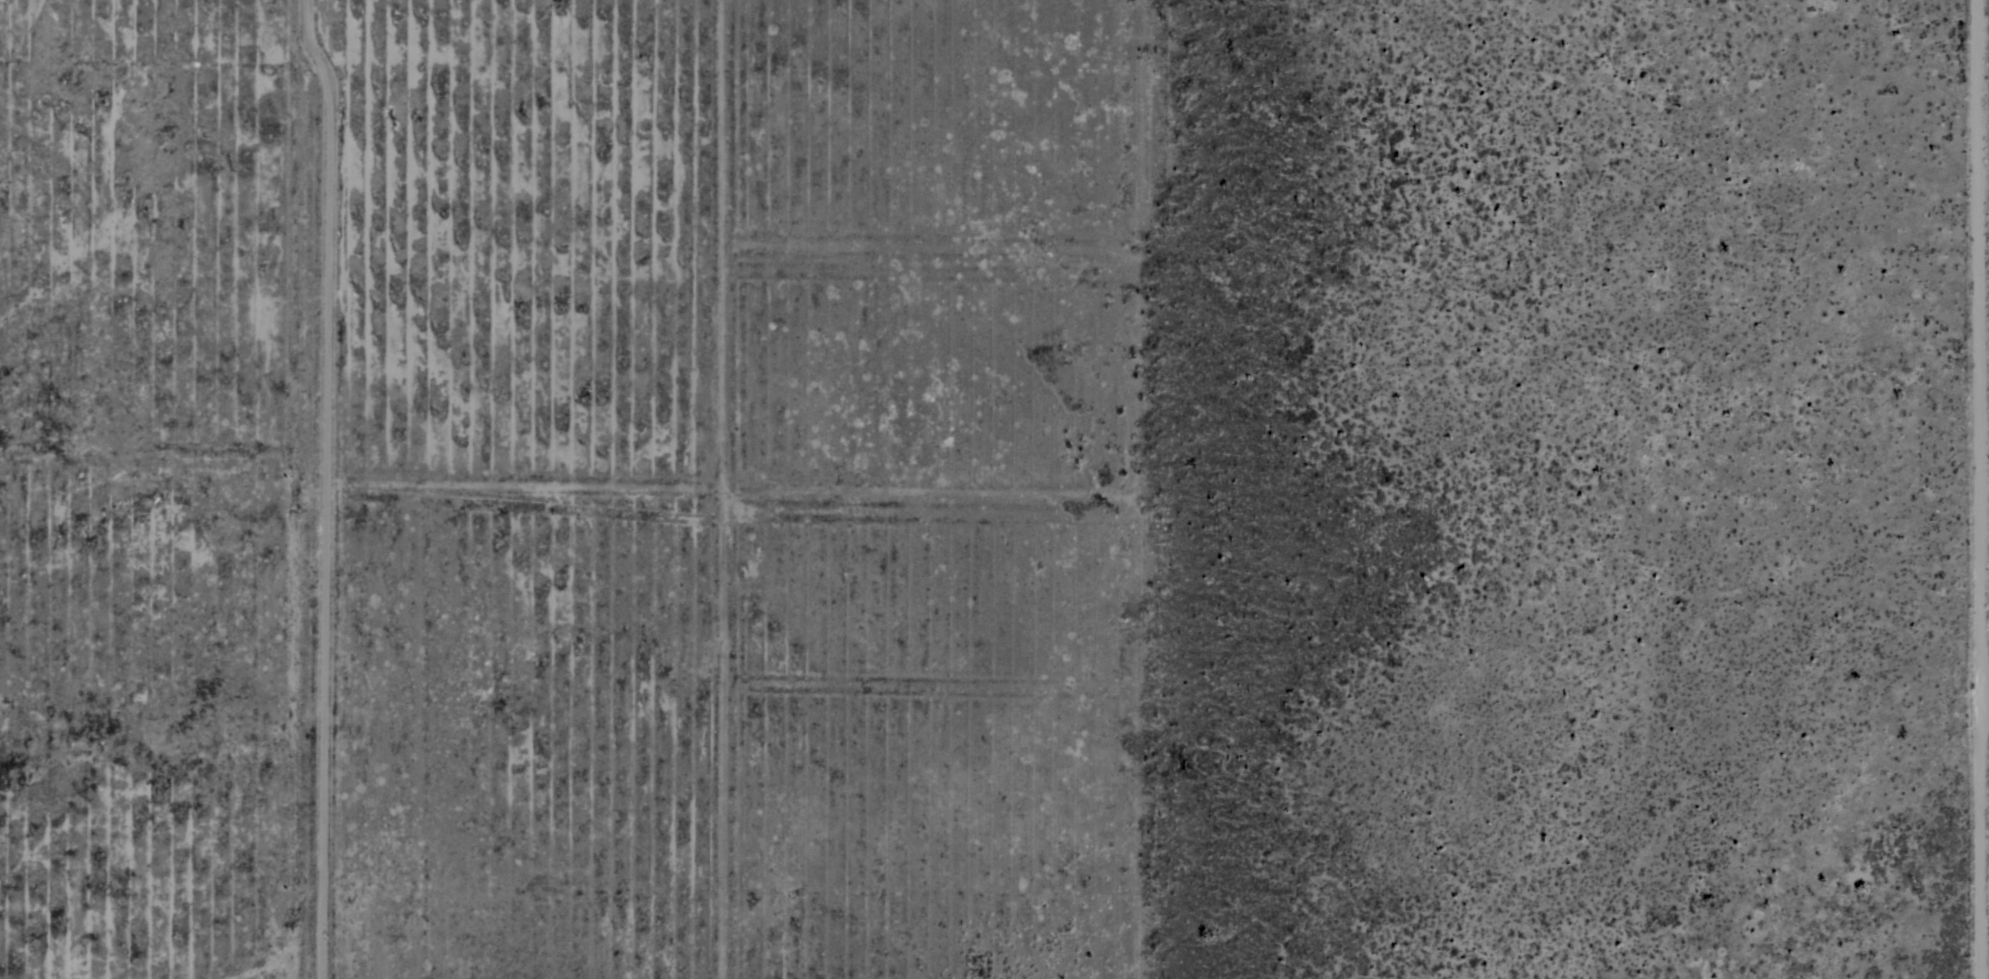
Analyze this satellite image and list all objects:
road: (330, 486)
road: (1986, 489)

